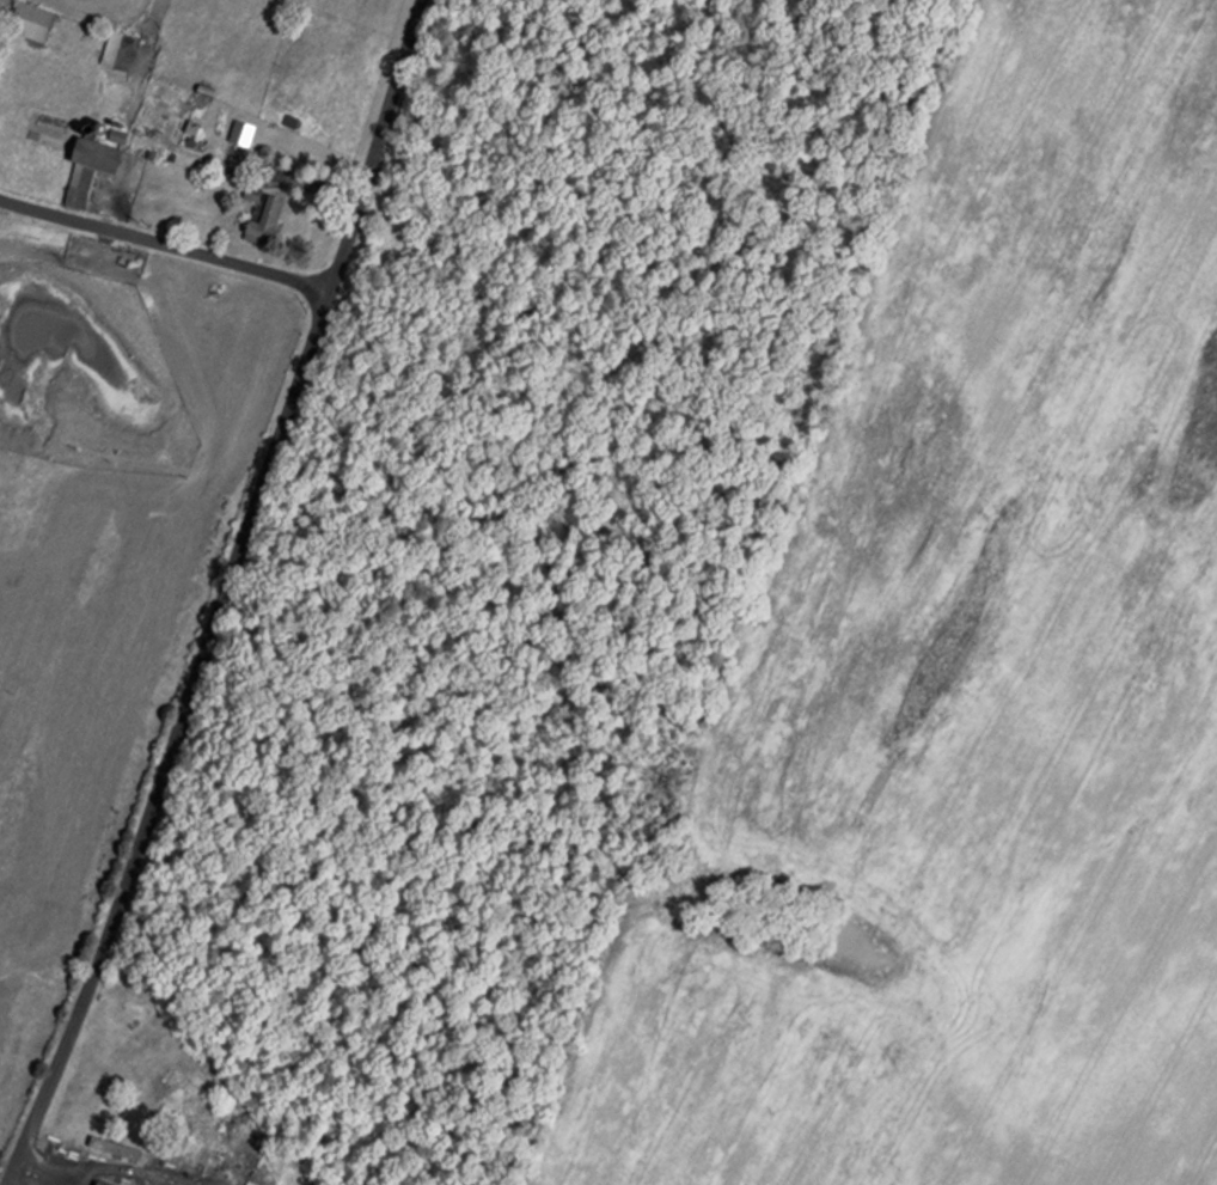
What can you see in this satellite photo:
road: (379, 145)
road: (165, 242)
road: (179, 739)
road: (103, 1168)

